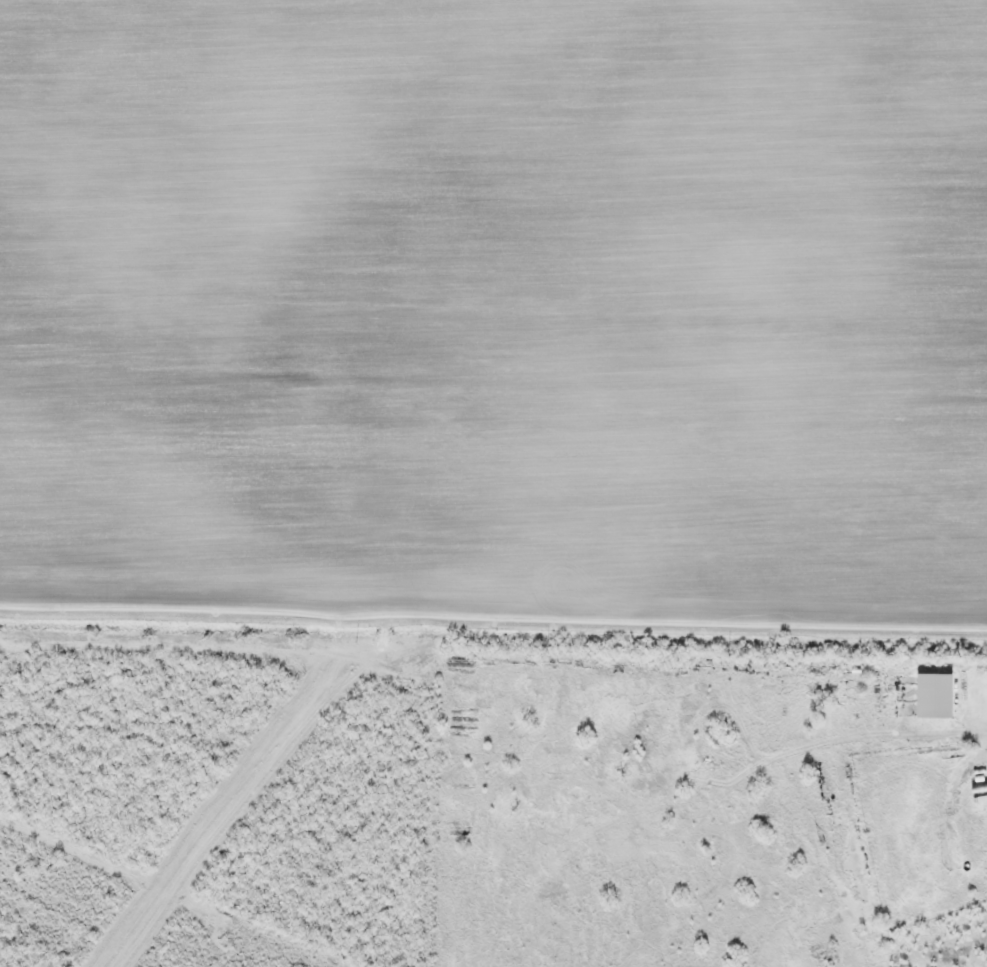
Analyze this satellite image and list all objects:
building: (934, 697)

